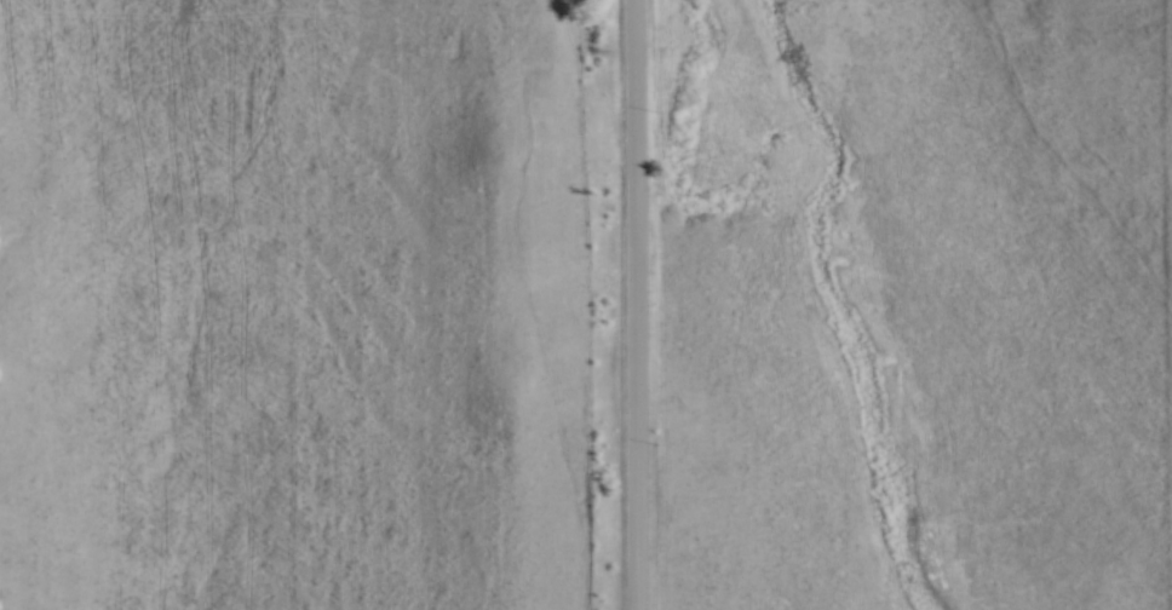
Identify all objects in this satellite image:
road: (639, 304)

